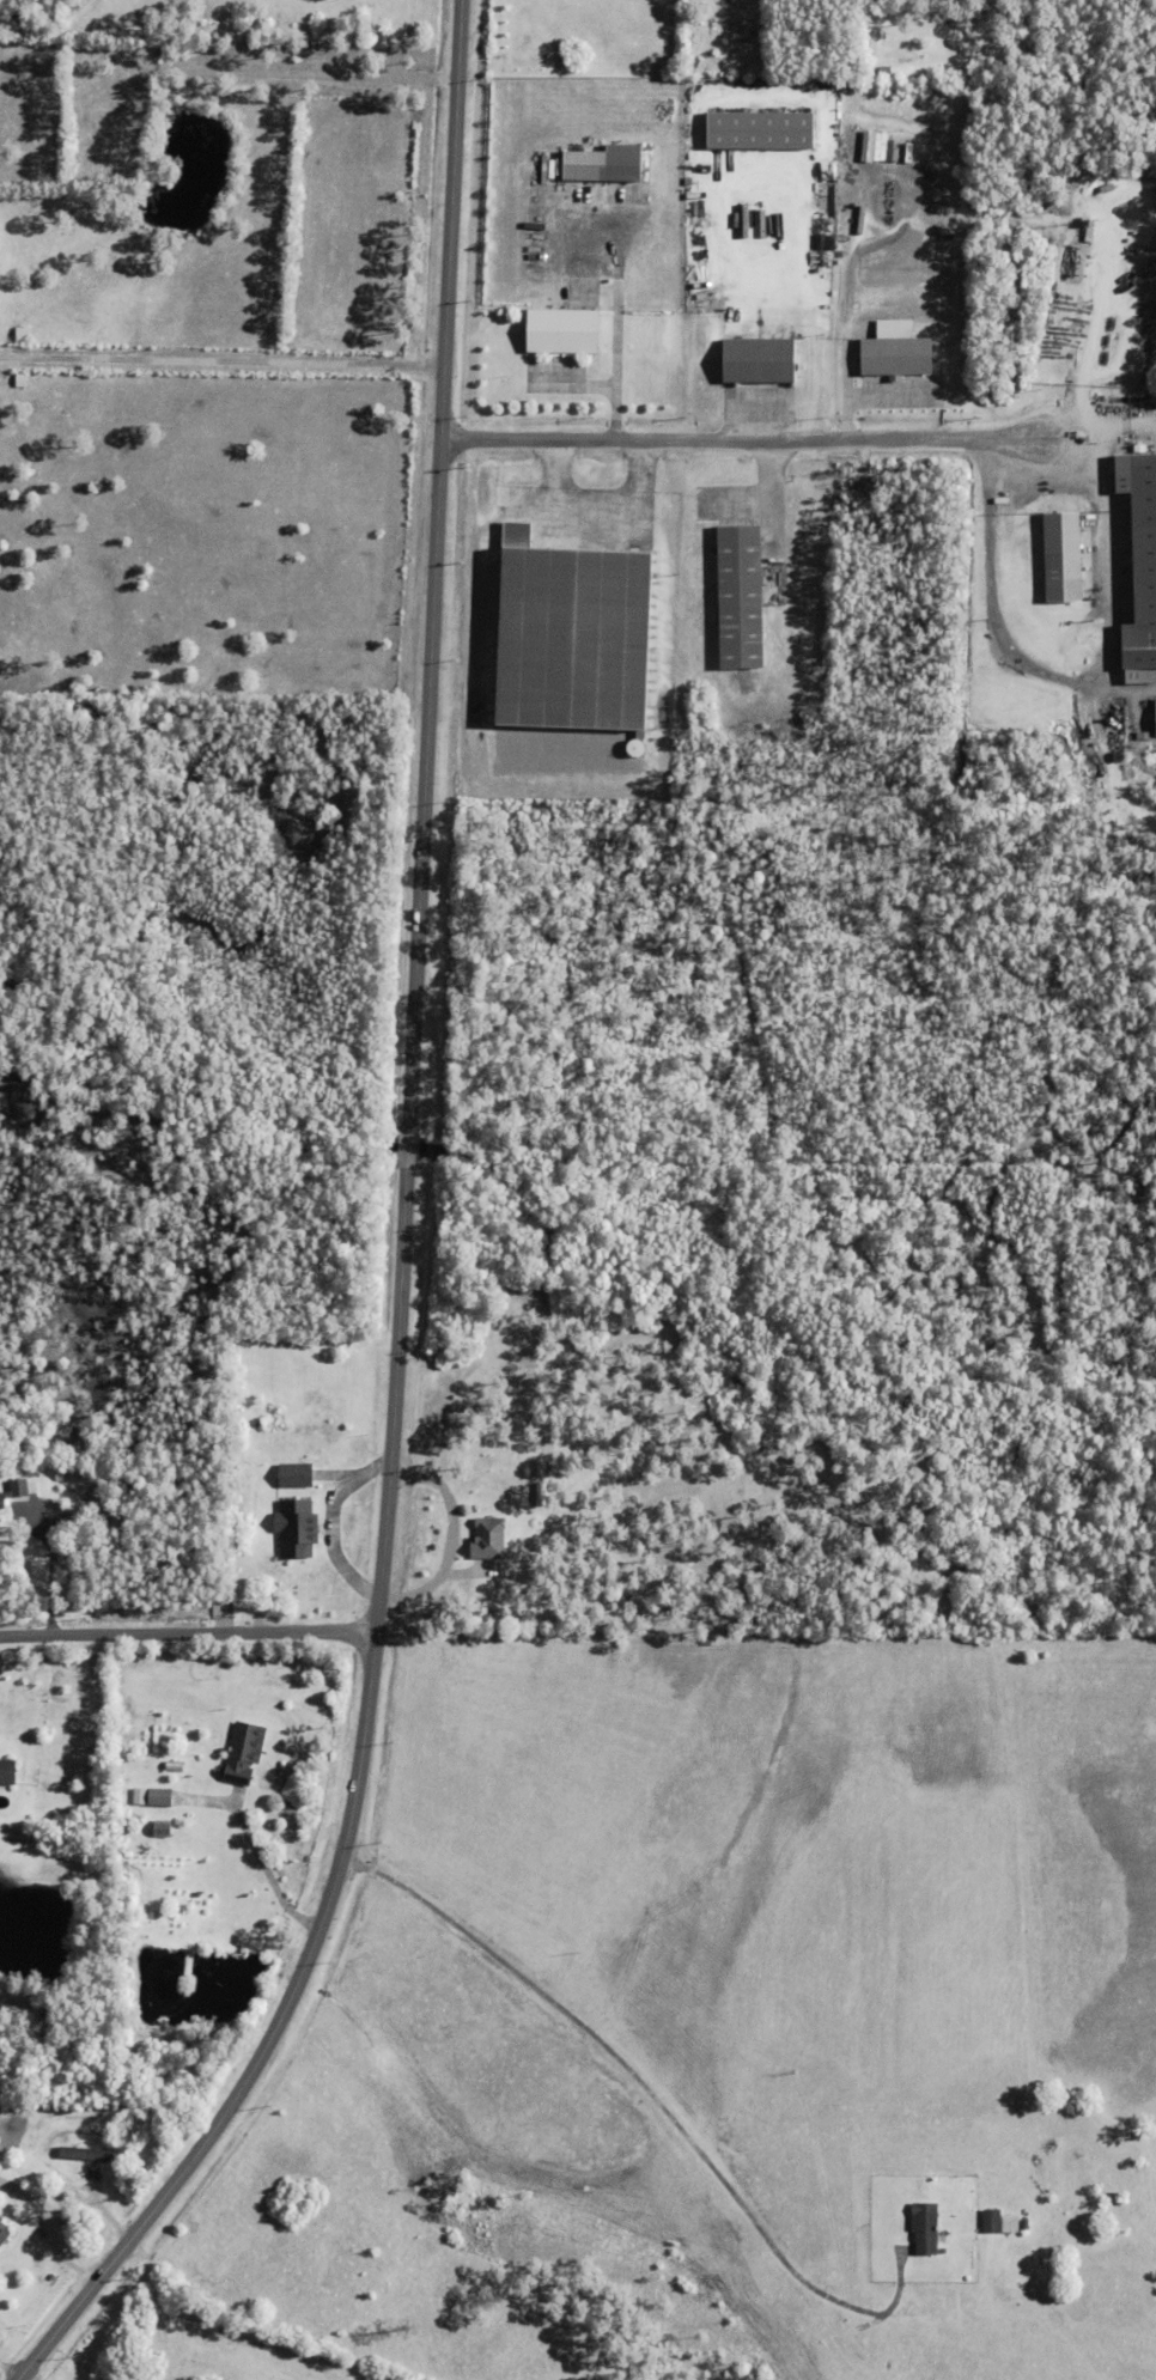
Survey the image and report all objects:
building: (886, 71)
building: (871, 72)
building: (760, 126)
building: (874, 146)
building: (584, 160)
building: (549, 168)
road: (795, 174)
building: (584, 193)
building: (562, 328)
road: (613, 331)
building: (896, 353)
building: (759, 358)
road: (223, 361)
road: (1053, 442)
building: (1059, 553)
building: (1140, 560)
building: (741, 595)
building: (570, 633)
building: (1152, 717)
road: (406, 1240)
building: (80, 1442)
building: (297, 1475)
building: (20, 1487)
building: (2, 1503)
building: (0, 1510)
building: (297, 1528)
building: (483, 1539)
building: (257, 1556)
road: (49, 1566)
road: (188, 1633)
building: (244, 1753)
building: (175, 1767)
building: (7, 1772)
building: (159, 1798)
building: (163, 1831)
road: (262, 1868)
road: (651, 2100)
building: (86, 2155)
building: (992, 2221)
building: (2, 2222)
building: (1010, 2224)
building: (1024, 2226)
building: (925, 2229)
road: (45, 2234)
building: (4, 2235)
building: (121, 2378)

